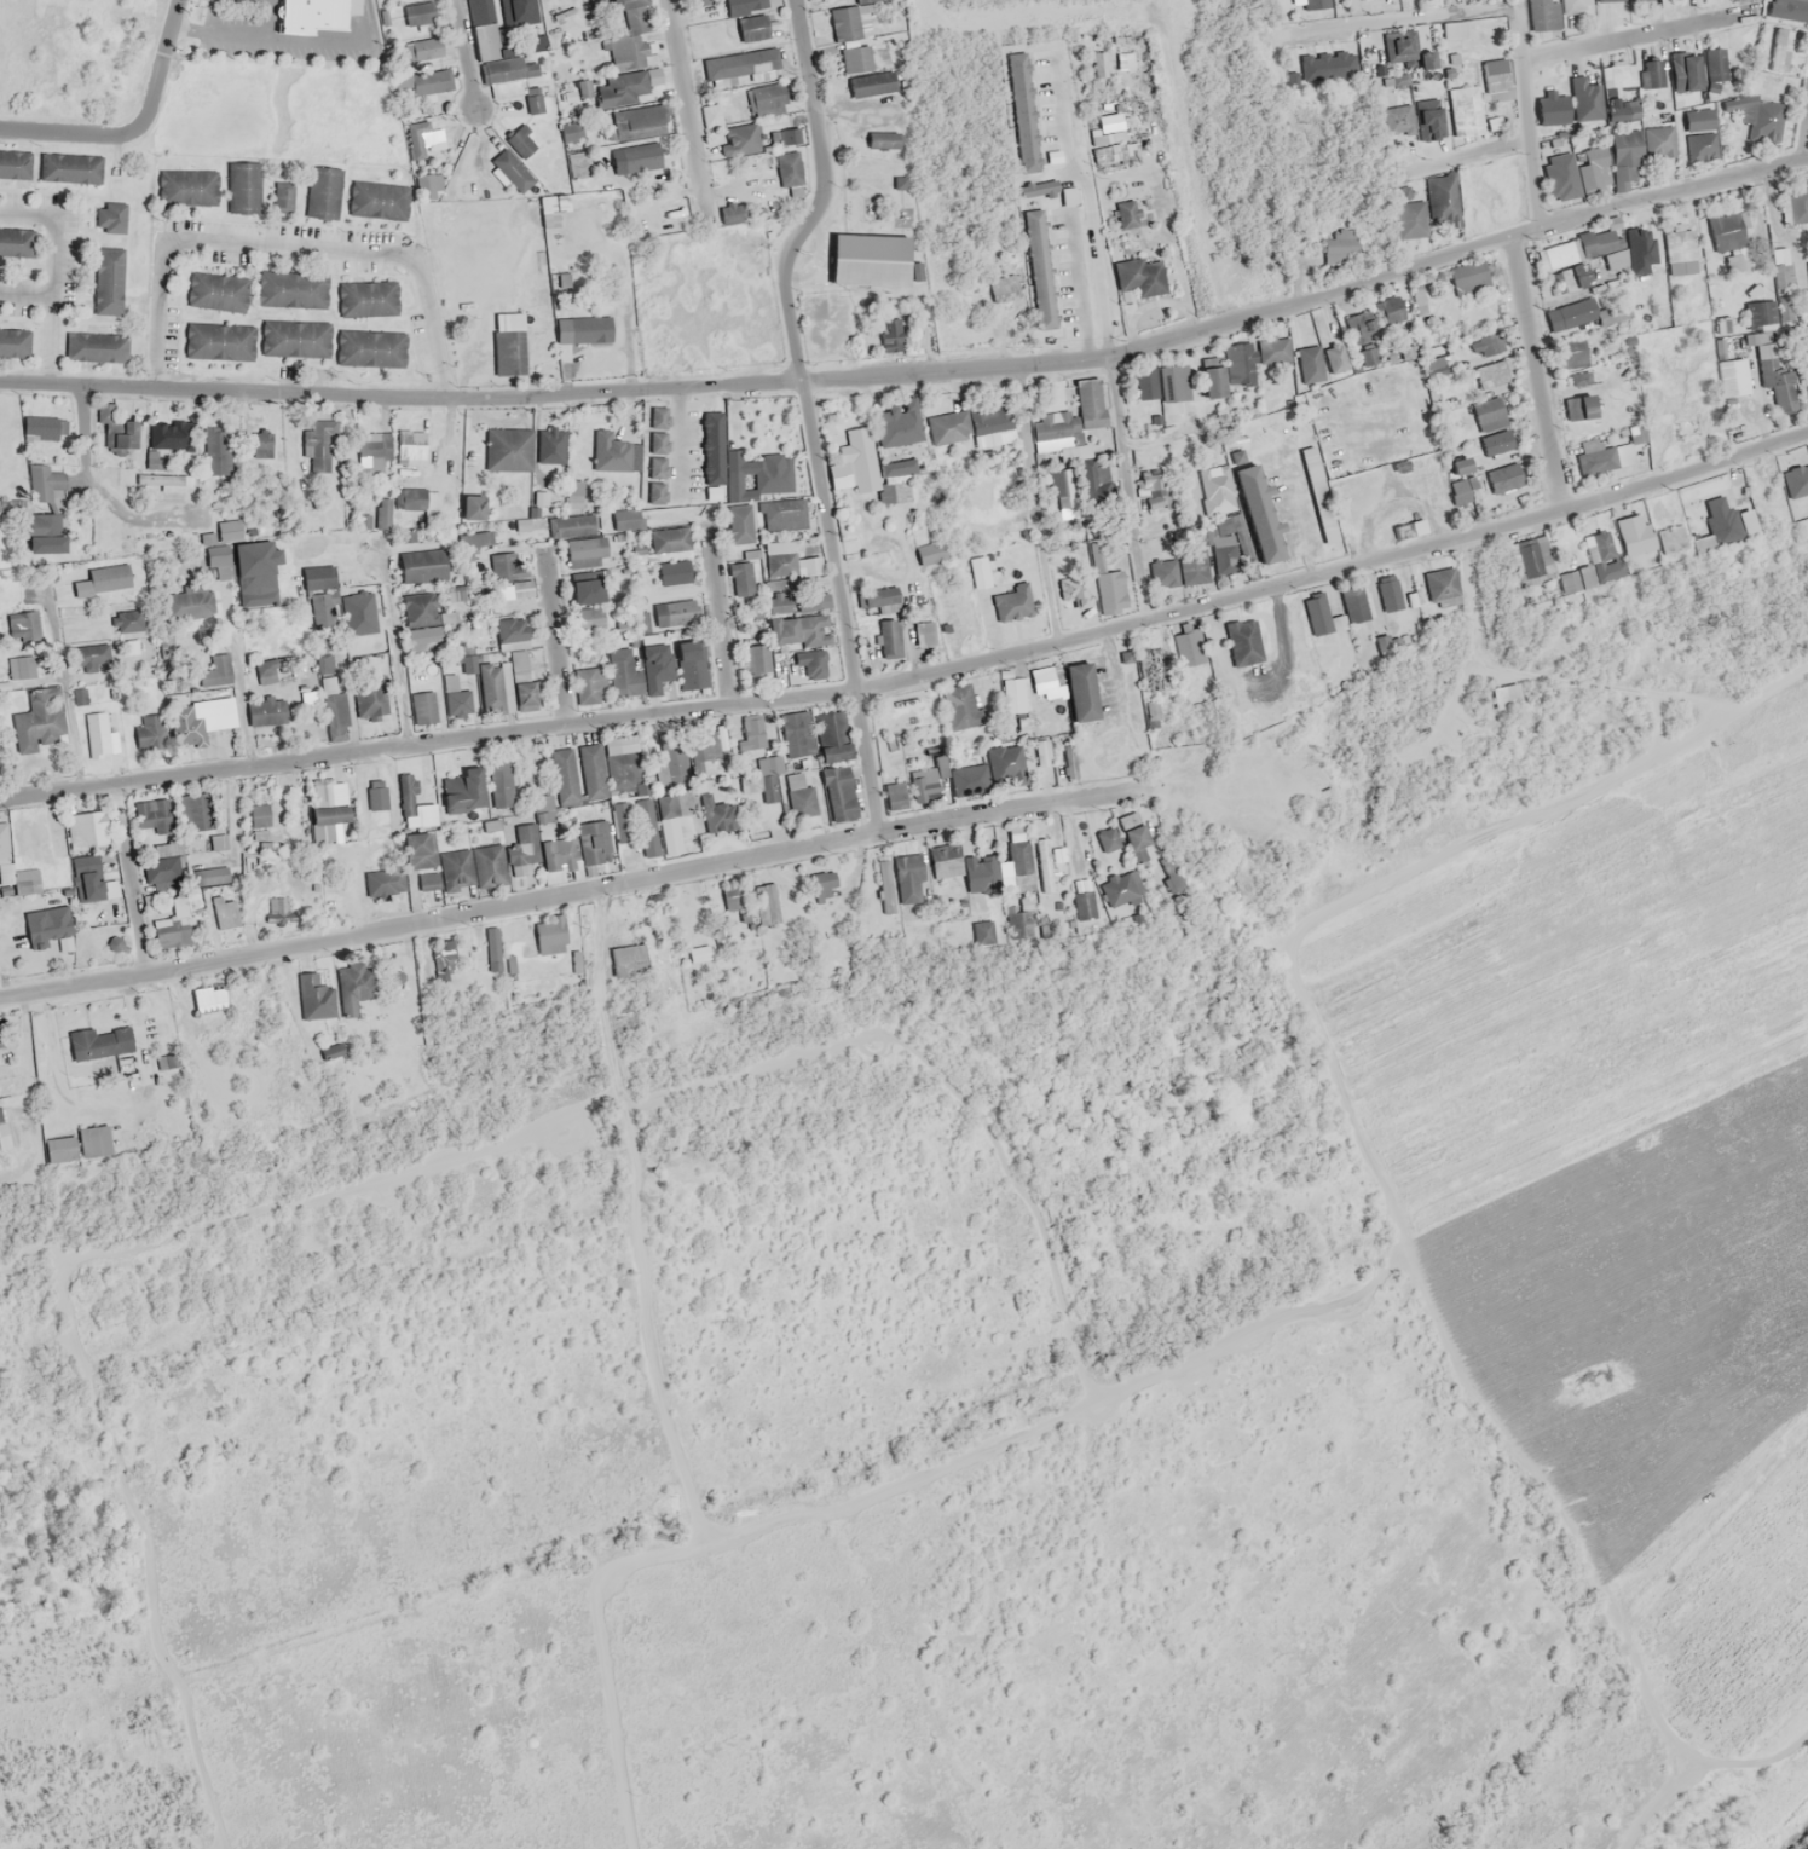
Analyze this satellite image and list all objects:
building: (1315, 4)
building: (745, 5)
building: (1573, 5)
building: (475, 8)
building: (1784, 10)
building: (418, 13)
building: (312, 16)
road: (1406, 19)
building: (851, 21)
building: (749, 23)
building: (626, 36)
road: (1629, 36)
building: (1399, 46)
building: (422, 50)
building: (1779, 50)
road: (466, 56)
building: (740, 67)
building: (1325, 67)
building: (1715, 69)
building: (1682, 71)
building: (1651, 74)
building: (1618, 75)
building: (867, 77)
building: (512, 79)
building: (1494, 80)
building: (429, 82)
building: (1752, 87)
building: (617, 89)
building: (768, 99)
building: (1585, 99)
road: (688, 110)
building: (710, 114)
building: (1461, 116)
road: (1527, 116)
building: (1553, 117)
building: (1397, 120)
building: (637, 122)
building: (1492, 123)
road: (137, 131)
building: (879, 132)
building: (1699, 134)
building: (784, 135)
building: (423, 138)
building: (740, 139)
building: (520, 141)
building: (1658, 141)
road: (1806, 143)
building: (626, 152)
road: (1469, 154)
building: (1594, 156)
building: (8, 157)
building: (63, 160)
building: (1624, 160)
building: (785, 164)
building: (512, 169)
building: (1559, 175)
building: (239, 183)
building: (181, 185)
building: (320, 187)
building: (374, 193)
road: (824, 195)
building: (1442, 200)
building: (1126, 213)
building: (102, 214)
building: (1409, 219)
building: (1726, 230)
building: (16, 242)
building: (1585, 248)
road: (289, 250)
building: (862, 250)
road: (1413, 265)
building: (1039, 275)
road: (57, 278)
building: (102, 278)
building: (288, 283)
building: (1565, 284)
building: (1807, 290)
building: (216, 291)
building: (362, 291)
building: (1784, 291)
building: (1388, 310)
building: (1758, 313)
building: (1582, 316)
building: (583, 322)
building: (1359, 327)
building: (291, 333)
building: (11, 337)
building: (212, 337)
building: (89, 340)
building: (362, 340)
building: (1489, 341)
building: (508, 343)
building: (1763, 349)
building: (1309, 363)
building: (1722, 368)
road: (1537, 372)
building: (1212, 375)
building: (1173, 382)
building: (1145, 385)
building: (1781, 392)
road: (508, 397)
building: (1577, 406)
building: (1059, 412)
building: (1488, 414)
building: (993, 421)
building: (896, 424)
building: (948, 427)
building: (40, 428)
building: (116, 429)
building: (1635, 433)
building: (167, 435)
building: (1496, 441)
building: (264, 443)
building: (323, 449)
building: (410, 449)
building: (507, 449)
building: (215, 450)
building: (610, 451)
building: (372, 452)
building: (857, 455)
building: (1593, 456)
building: (714, 475)
building: (1502, 478)
building: (160, 479)
building: (655, 479)
building: (1795, 481)
building: (45, 484)
building: (1059, 486)
road: (1127, 487)
building: (1154, 489)
road: (102, 490)
building: (1217, 490)
building: (572, 498)
road: (1038, 503)
building: (418, 507)
building: (472, 507)
building: (776, 516)
building: (382, 519)
building: (625, 519)
building: (1745, 521)
building: (572, 524)
building: (739, 526)
building: (27, 533)
building: (1634, 535)
building: (1263, 537)
building: (1700, 539)
building: (663, 543)
building: (1220, 544)
building: (779, 545)
building: (1594, 547)
building: (585, 553)
building: (929, 553)
building: (1531, 556)
building: (219, 560)
building: (421, 565)
building: (810, 565)
building: (1194, 567)
building: (1162, 572)
building: (255, 573)
building: (318, 577)
building: (740, 577)
building: (1576, 580)
building: (108, 583)
building: (1439, 584)
building: (520, 588)
building: (1109, 591)
building: (456, 593)
building: (1388, 594)
building: (778, 596)
building: (878, 600)
building: (587, 601)
building: (1011, 603)
building: (1353, 603)
road: (842, 605)
building: (418, 608)
building: (674, 614)
building: (1316, 614)
road: (721, 616)
building: (128, 620)
building: (23, 626)
building: (624, 628)
building: (811, 630)
building: (512, 632)
building: (923, 632)
building: (890, 637)
building: (423, 640)
road: (558, 640)
building: (132, 646)
building: (1189, 646)
building: (166, 648)
building: (89, 657)
building: (755, 659)
building: (654, 660)
building: (807, 661)
road: (399, 664)
building: (467, 664)
building: (692, 664)
building: (22, 666)
building: (1146, 669)
building: (215, 670)
building: (265, 674)
building: (622, 676)
road: (915, 676)
road: (1547, 677)
building: (521, 678)
road: (62, 682)
building: (449, 682)
building: (1046, 683)
building: (588, 684)
building: (1080, 692)
building: (89, 693)
building: (1012, 695)
building: (1504, 695)
building: (331, 698)
building: (369, 698)
road: (244, 700)
building: (963, 705)
building: (423, 707)
building: (265, 711)
building: (221, 712)
building: (39, 720)
building: (186, 723)
road: (1663, 723)
building: (929, 729)
building: (151, 730)
building: (752, 733)
building: (100, 734)
building: (796, 734)
building: (831, 735)
building: (619, 745)
building: (711, 745)
building: (1041, 752)
building: (670, 757)
building: (1069, 761)
building: (1006, 763)
building: (591, 772)
building: (564, 775)
building: (966, 776)
building: (620, 778)
building: (761, 782)
building: (499, 784)
building: (219, 790)
building: (463, 791)
building: (406, 793)
building: (838, 793)
building: (376, 795)
building: (799, 796)
building: (894, 796)
building: (325, 808)
building: (154, 815)
building: (259, 815)
building: (197, 817)
building: (692, 819)
building: (622, 822)
building: (646, 827)
building: (85, 828)
building: (1132, 831)
building: (1015, 833)
building: (28, 837)
building: (1105, 838)
building: (2, 840)
building: (538, 842)
building: (593, 842)
building: (169, 848)
building: (421, 859)
building: (487, 865)
building: (1042, 865)
building: (455, 868)
building: (946, 871)
building: (981, 873)
building: (209, 876)
building: (88, 878)
building: (908, 878)
building: (163, 879)
building: (25, 880)
road: (128, 880)
building: (385, 880)
building: (884, 885)
building: (1119, 888)
road: (573, 891)
building: (60, 894)
building: (310, 899)
building: (764, 903)
building: (278, 911)
building: (173, 925)
building: (1017, 925)
building: (47, 929)
building: (550, 938)
building: (444, 950)
building: (699, 953)
building: (626, 954)
building: (490, 955)
building: (354, 987)
building: (314, 996)
building: (209, 998)
building: (408, 1024)
building: (1, 1040)
building: (99, 1042)
road: (1348, 1103)
building: (4, 1129)
building: (76, 1145)
road: (646, 1219)
road: (1017, 1444)

